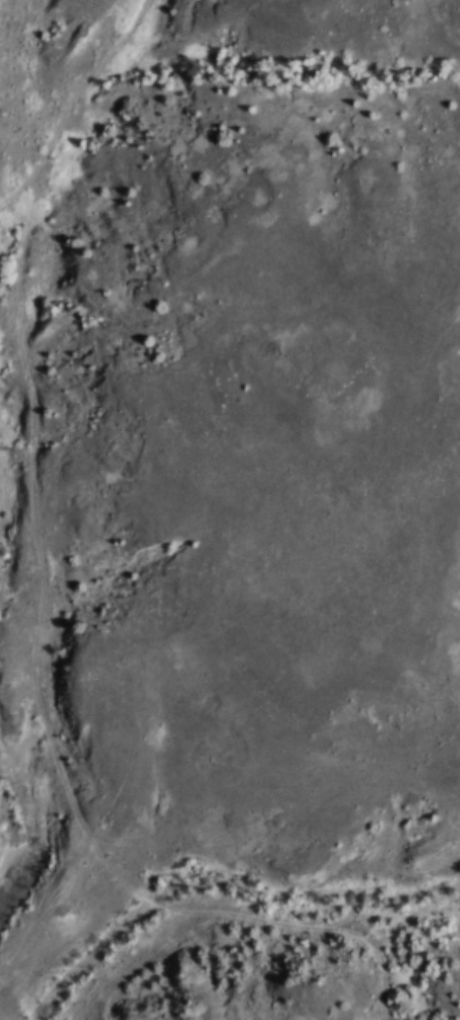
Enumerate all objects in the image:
road: (71, 102)

